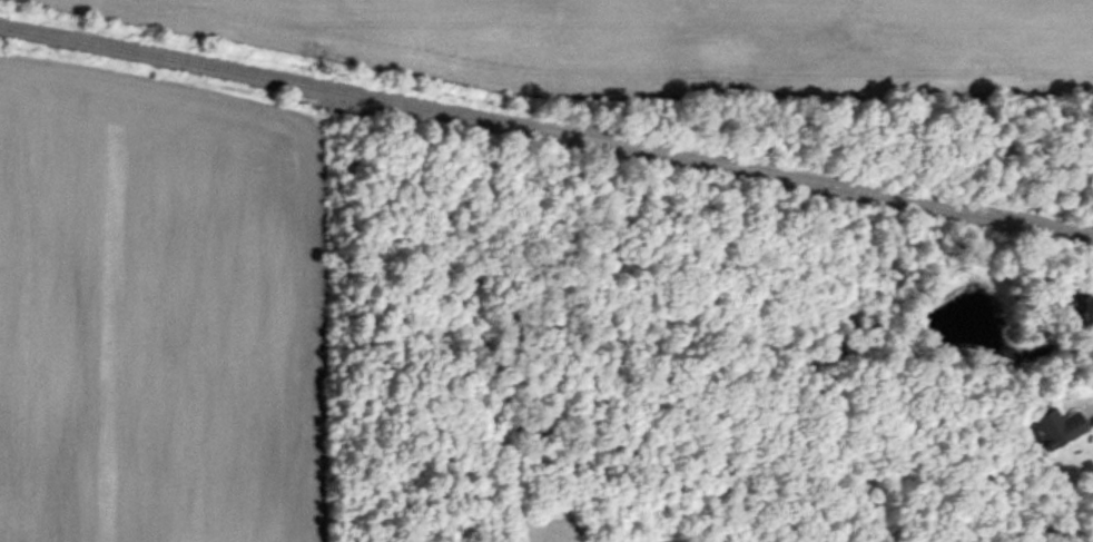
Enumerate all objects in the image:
railway: (546, 129)
road: (1089, 400)
building: (1054, 427)

